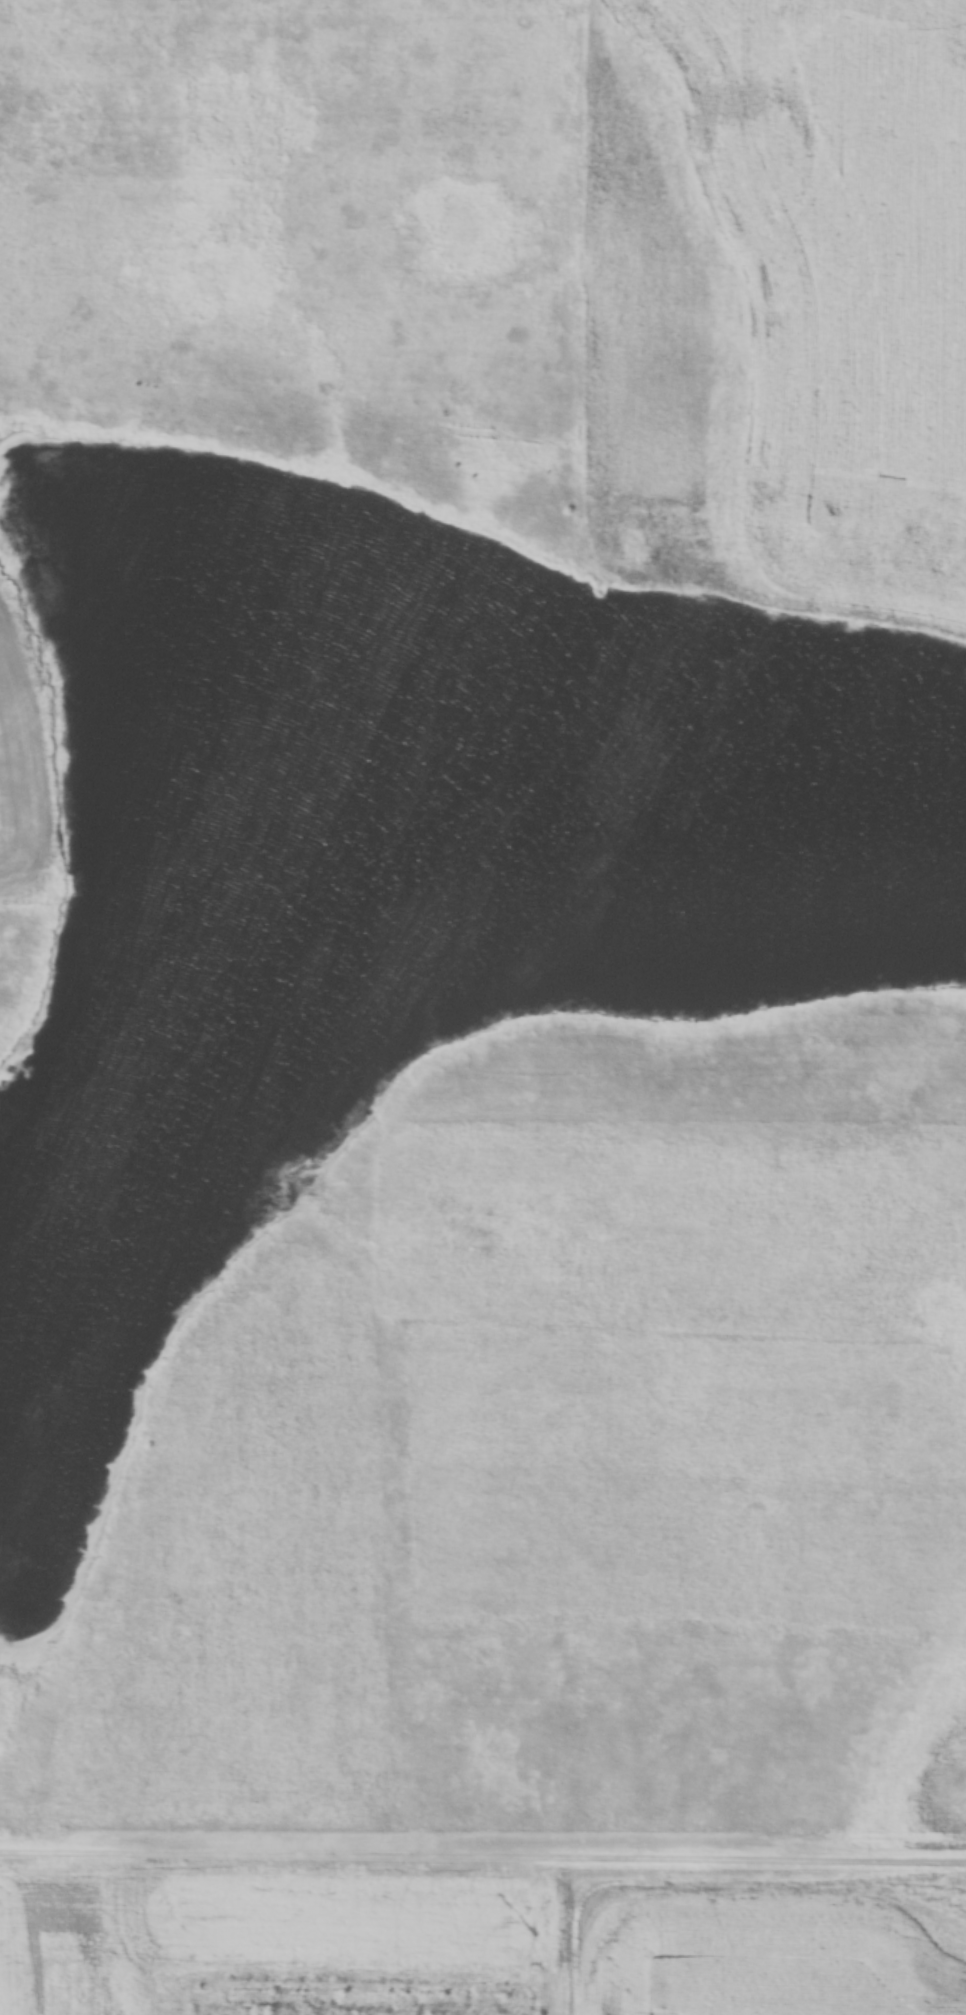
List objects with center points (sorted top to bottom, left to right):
road: (483, 1868)

